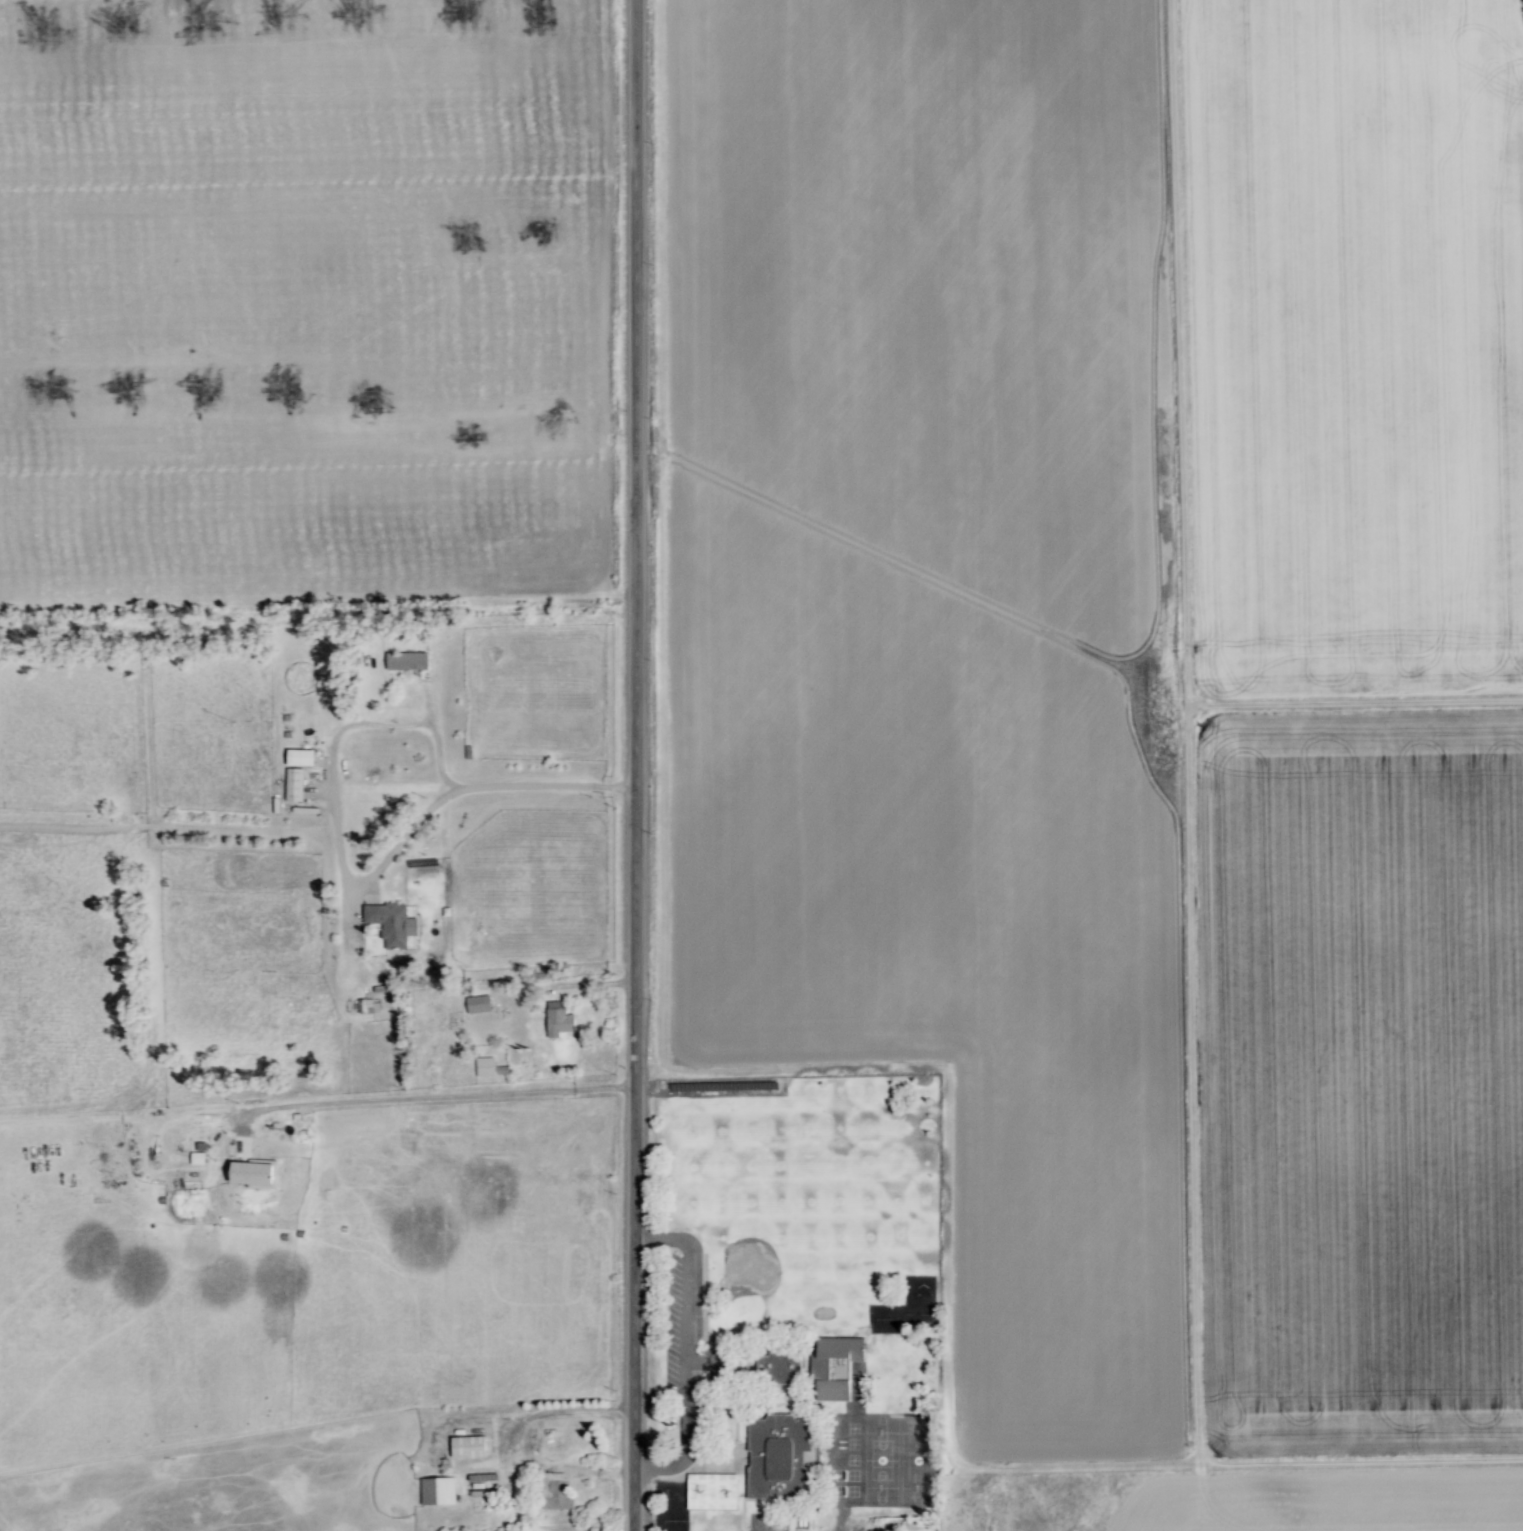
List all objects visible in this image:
building: (406, 661)
road: (358, 725)
building: (299, 757)
road: (628, 765)
building: (293, 785)
building: (391, 923)
road: (571, 984)
building: (477, 1004)
building: (364, 1006)
building: (558, 1020)
building: (484, 1067)
road: (433, 1101)
building: (196, 1158)
building: (253, 1174)
road: (687, 1323)
building: (835, 1358)
building: (780, 1369)
road: (557, 1409)
building: (468, 1446)
building: (776, 1455)
road: (651, 1467)
building: (436, 1490)
building: (711, 1491)
building: (555, 1492)

